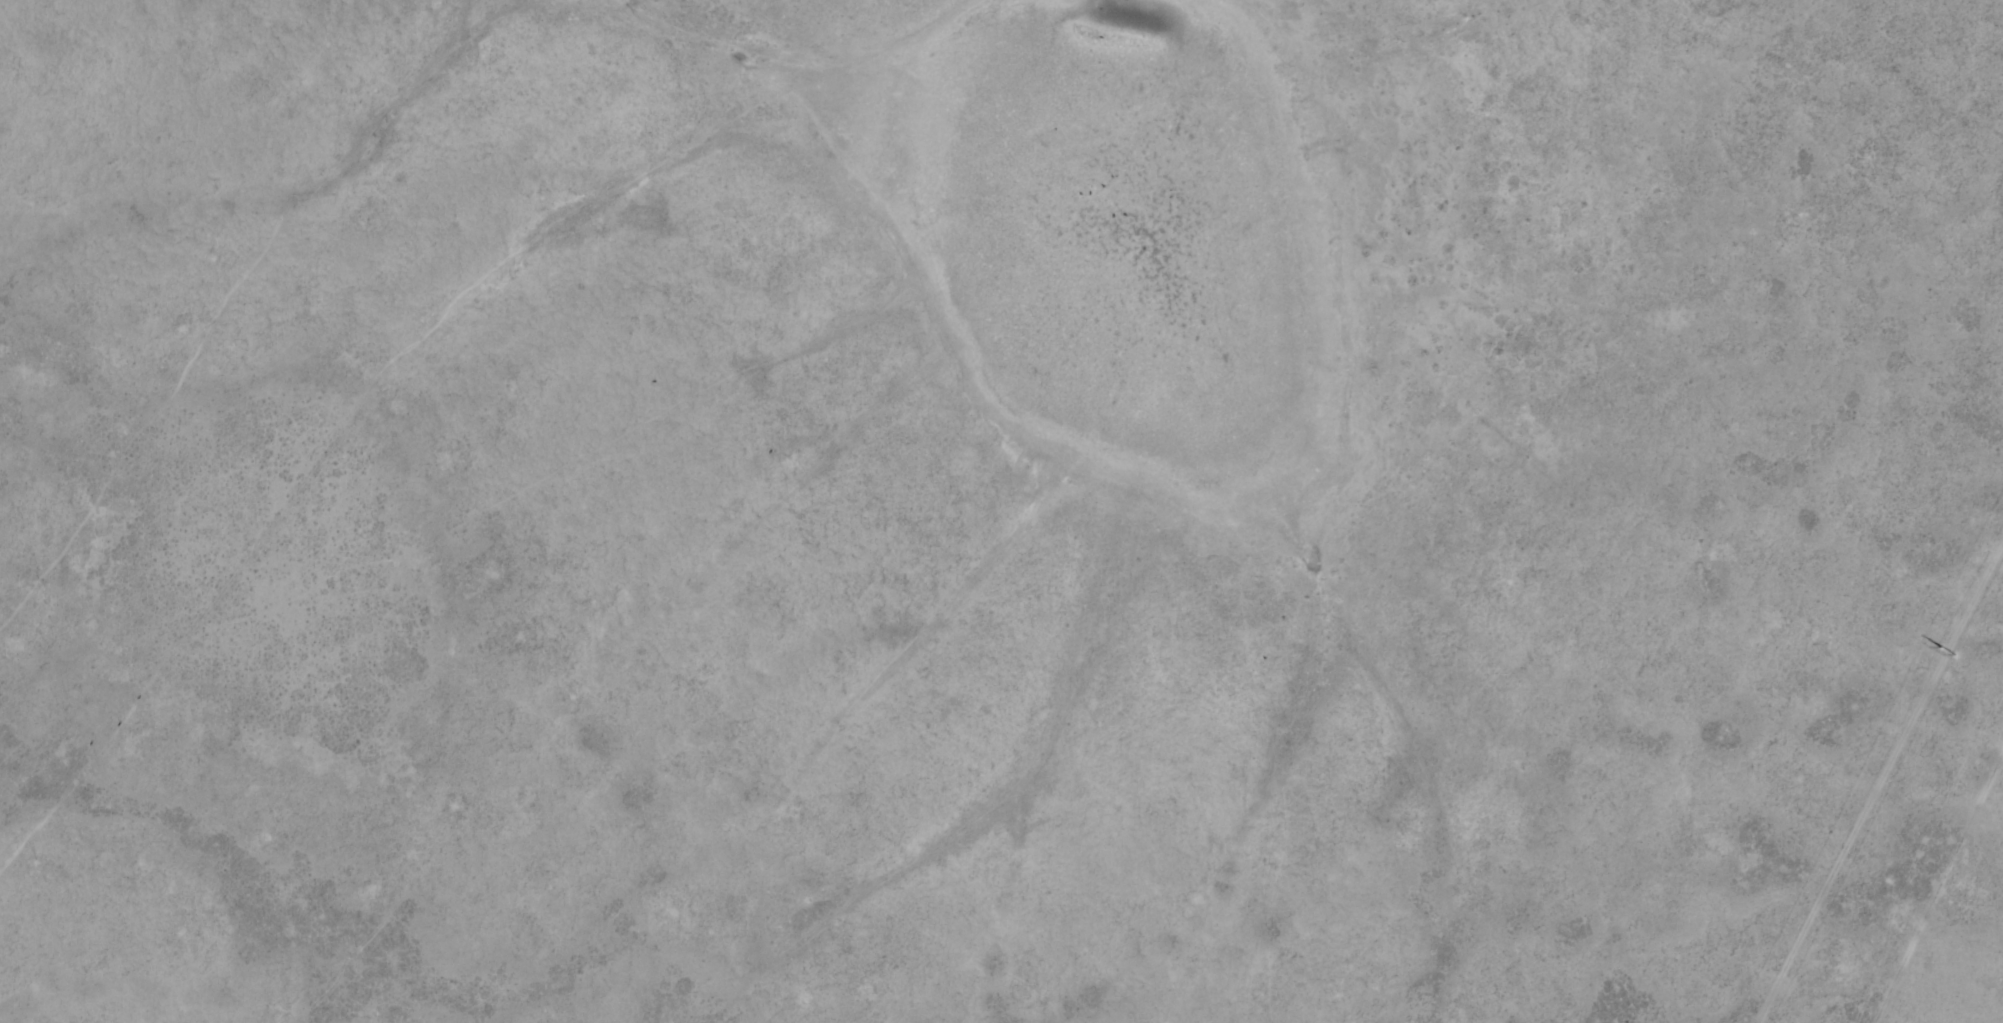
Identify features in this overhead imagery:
power tower: (1950, 649)

